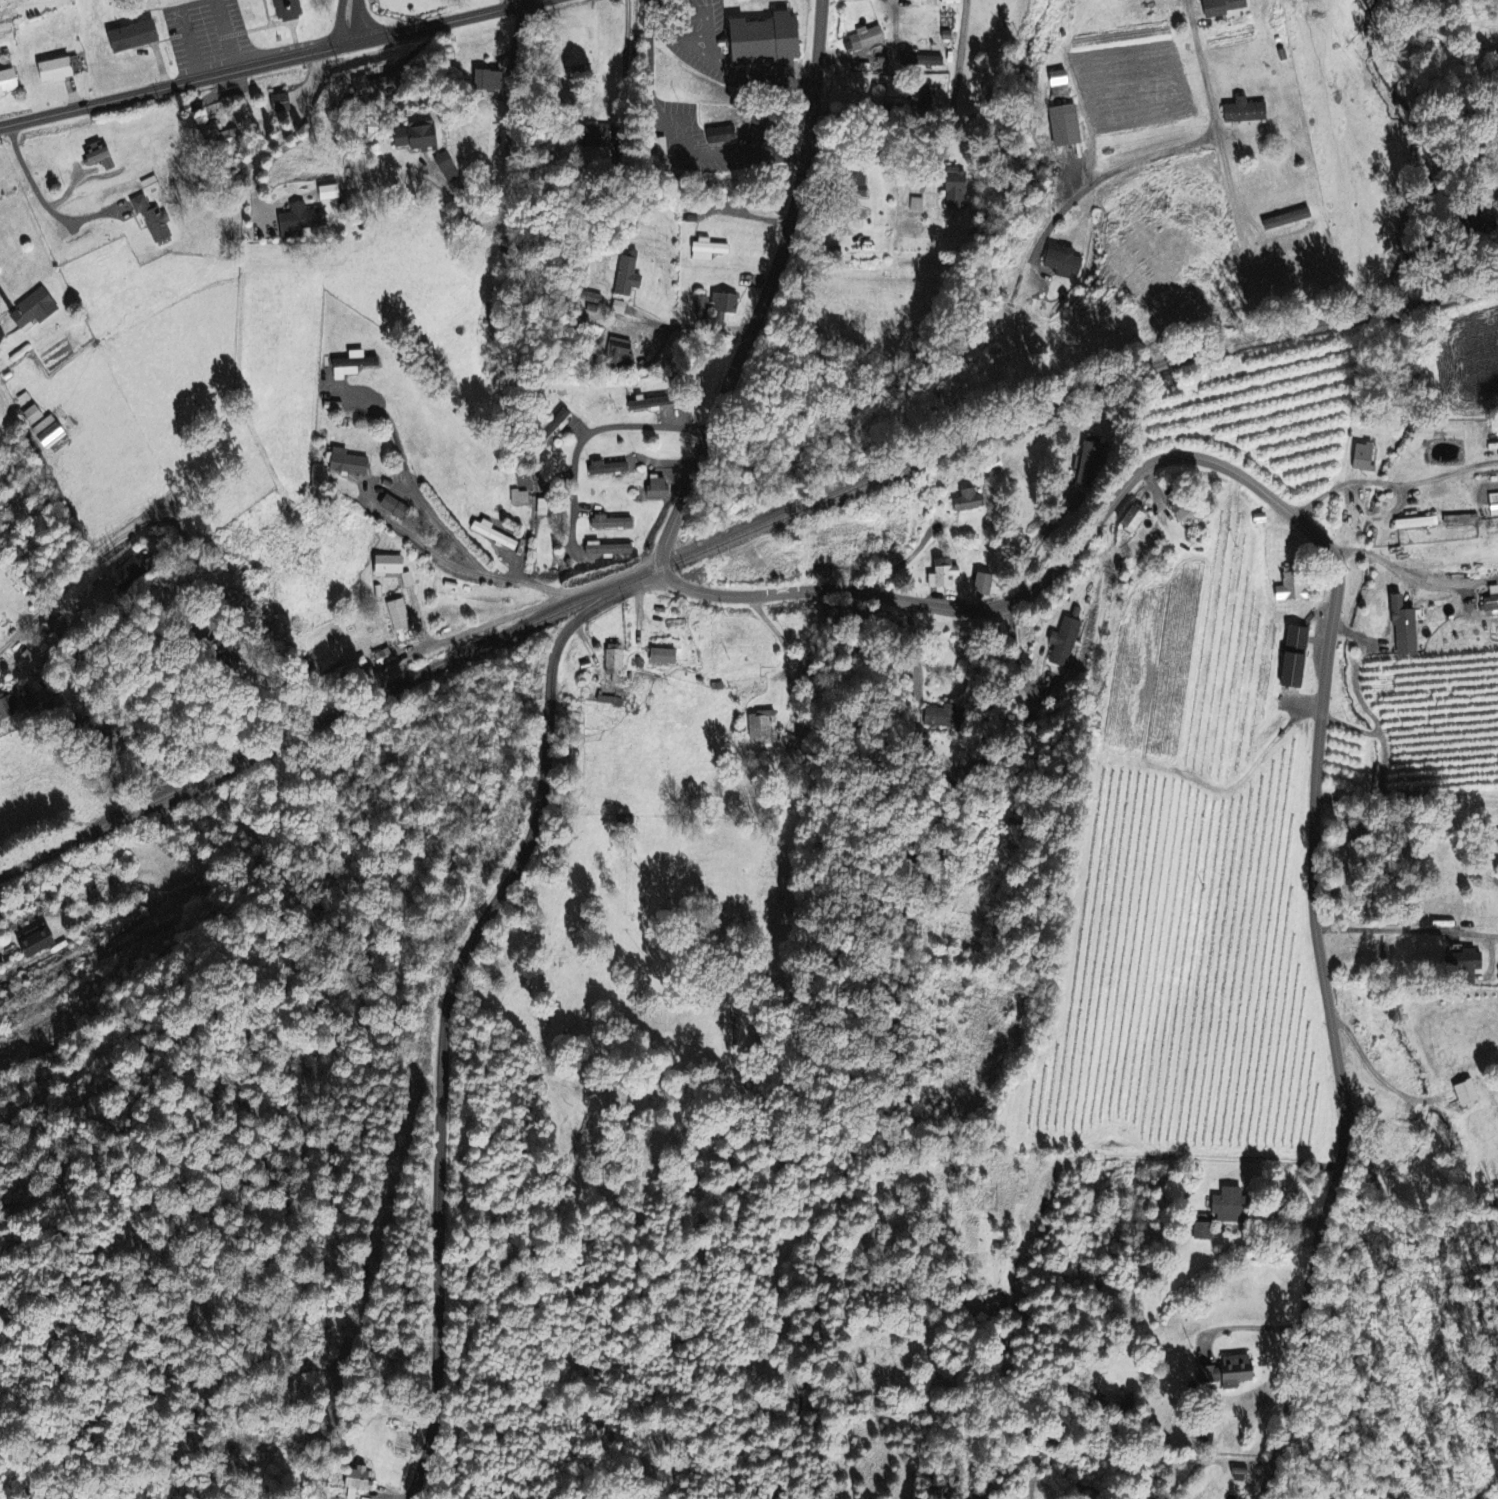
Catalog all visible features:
building: (907, 0)
building: (1221, 7)
building: (292, 9)
road: (687, 13)
road: (363, 19)
road: (341, 22)
road: (658, 27)
road: (187, 32)
road: (227, 35)
road: (697, 36)
building: (139, 37)
building: (863, 40)
building: (761, 41)
road: (710, 46)
road: (696, 50)
building: (920, 61)
road: (270, 62)
building: (60, 71)
road: (761, 74)
building: (1057, 78)
building: (10, 84)
building: (366, 86)
road: (956, 96)
building: (284, 104)
building: (1243, 112)
building: (1063, 126)
road: (1218, 126)
road: (287, 131)
building: (721, 136)
building: (422, 137)
building: (220, 139)
road: (1144, 148)
road: (511, 153)
building: (102, 157)
building: (449, 163)
road: (32, 179)
building: (954, 190)
building: (333, 193)
building: (915, 206)
building: (155, 220)
building: (1285, 220)
building: (303, 221)
building: (706, 251)
building: (1062, 262)
building: (627, 276)
building: (714, 307)
building: (38, 310)
road: (695, 329)
building: (1, 352)
building: (621, 354)
building: (350, 366)
building: (35, 415)
building: (53, 432)
road: (395, 434)
road: (591, 437)
building: (1363, 458)
building: (345, 463)
road: (1163, 465)
building: (614, 468)
road: (1447, 474)
road: (1342, 487)
building: (656, 489)
building: (519, 498)
building: (967, 502)
building: (392, 508)
road: (434, 514)
building: (1183, 515)
building: (1459, 520)
building: (1130, 521)
building: (611, 523)
building: (1415, 524)
building: (493, 535)
railway: (733, 536)
road: (1040, 538)
building: (606, 550)
road: (906, 558)
road: (455, 563)
building: (385, 566)
building: (130, 574)
building: (942, 578)
road: (1401, 582)
building: (981, 586)
road: (75, 587)
building: (1292, 591)
building: (1491, 601)
building: (397, 615)
building: (1403, 629)
building: (57, 633)
road: (441, 644)
road: (916, 647)
building: (661, 657)
building: (1295, 658)
building: (614, 663)
building: (609, 701)
building: (35, 702)
building: (10, 708)
building: (760, 727)
road: (1443, 801)
building: (626, 821)
building: (1496, 841)
road: (1408, 933)
building: (40, 944)
building: (1465, 967)
road: (29, 973)
road: (449, 996)
road: (88, 1064)
road: (1381, 1073)
building: (1465, 1093)
road: (1164, 1155)
building: (1232, 1205)
road: (1413, 1210)
building: (1202, 1229)
building: (1228, 1372)
building: (1238, 1471)
building: (359, 1482)

